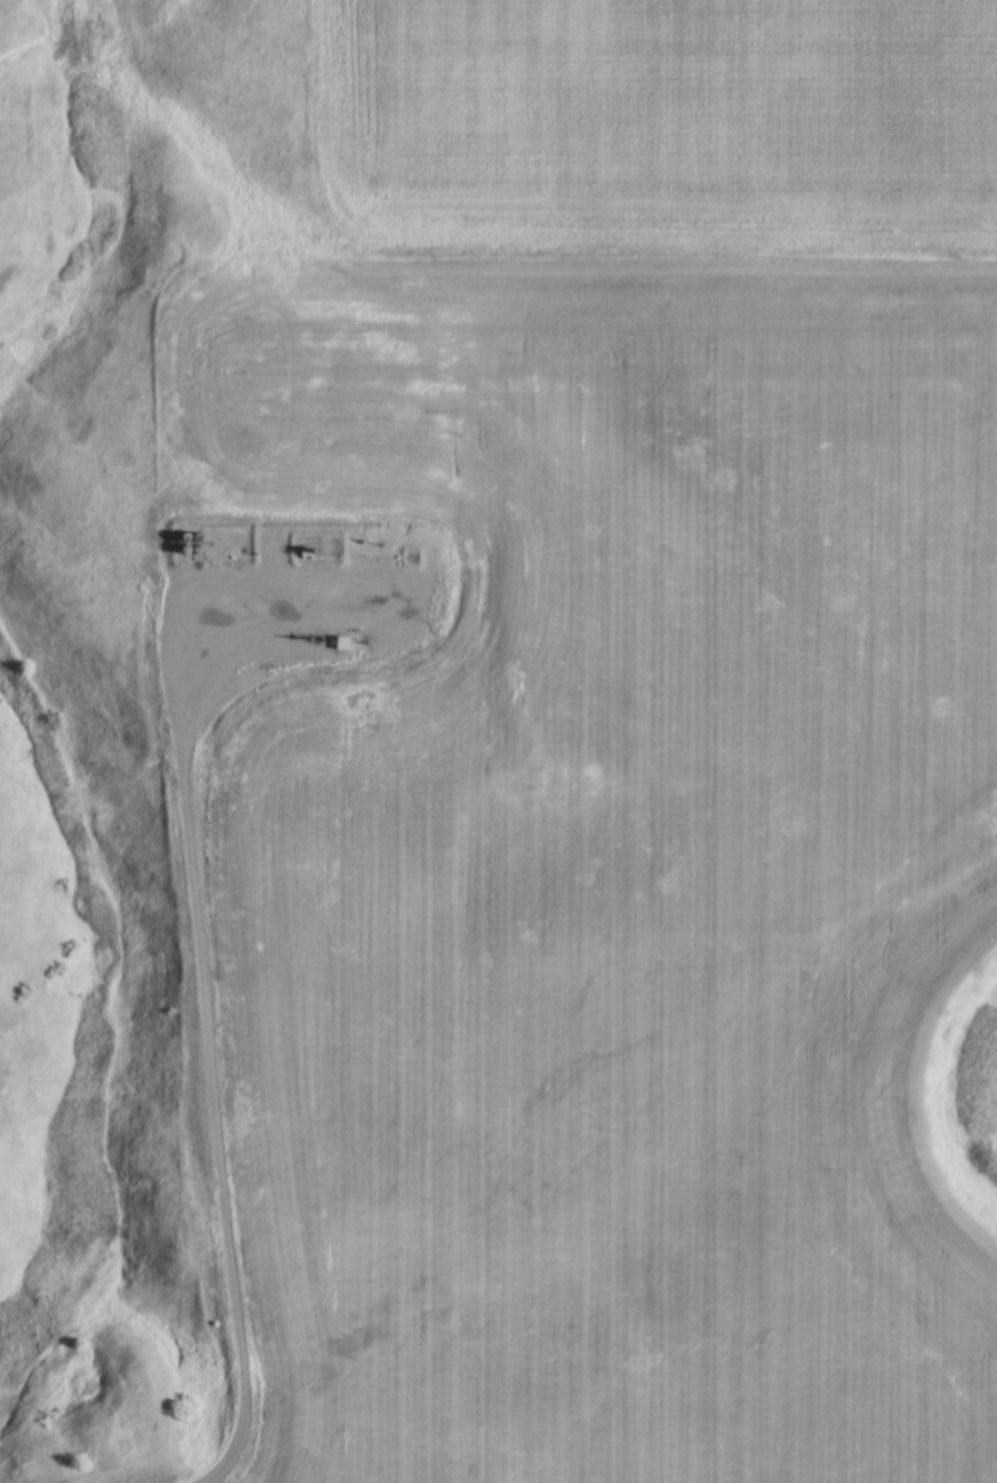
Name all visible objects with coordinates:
building: (337, 642)
road: (200, 961)

